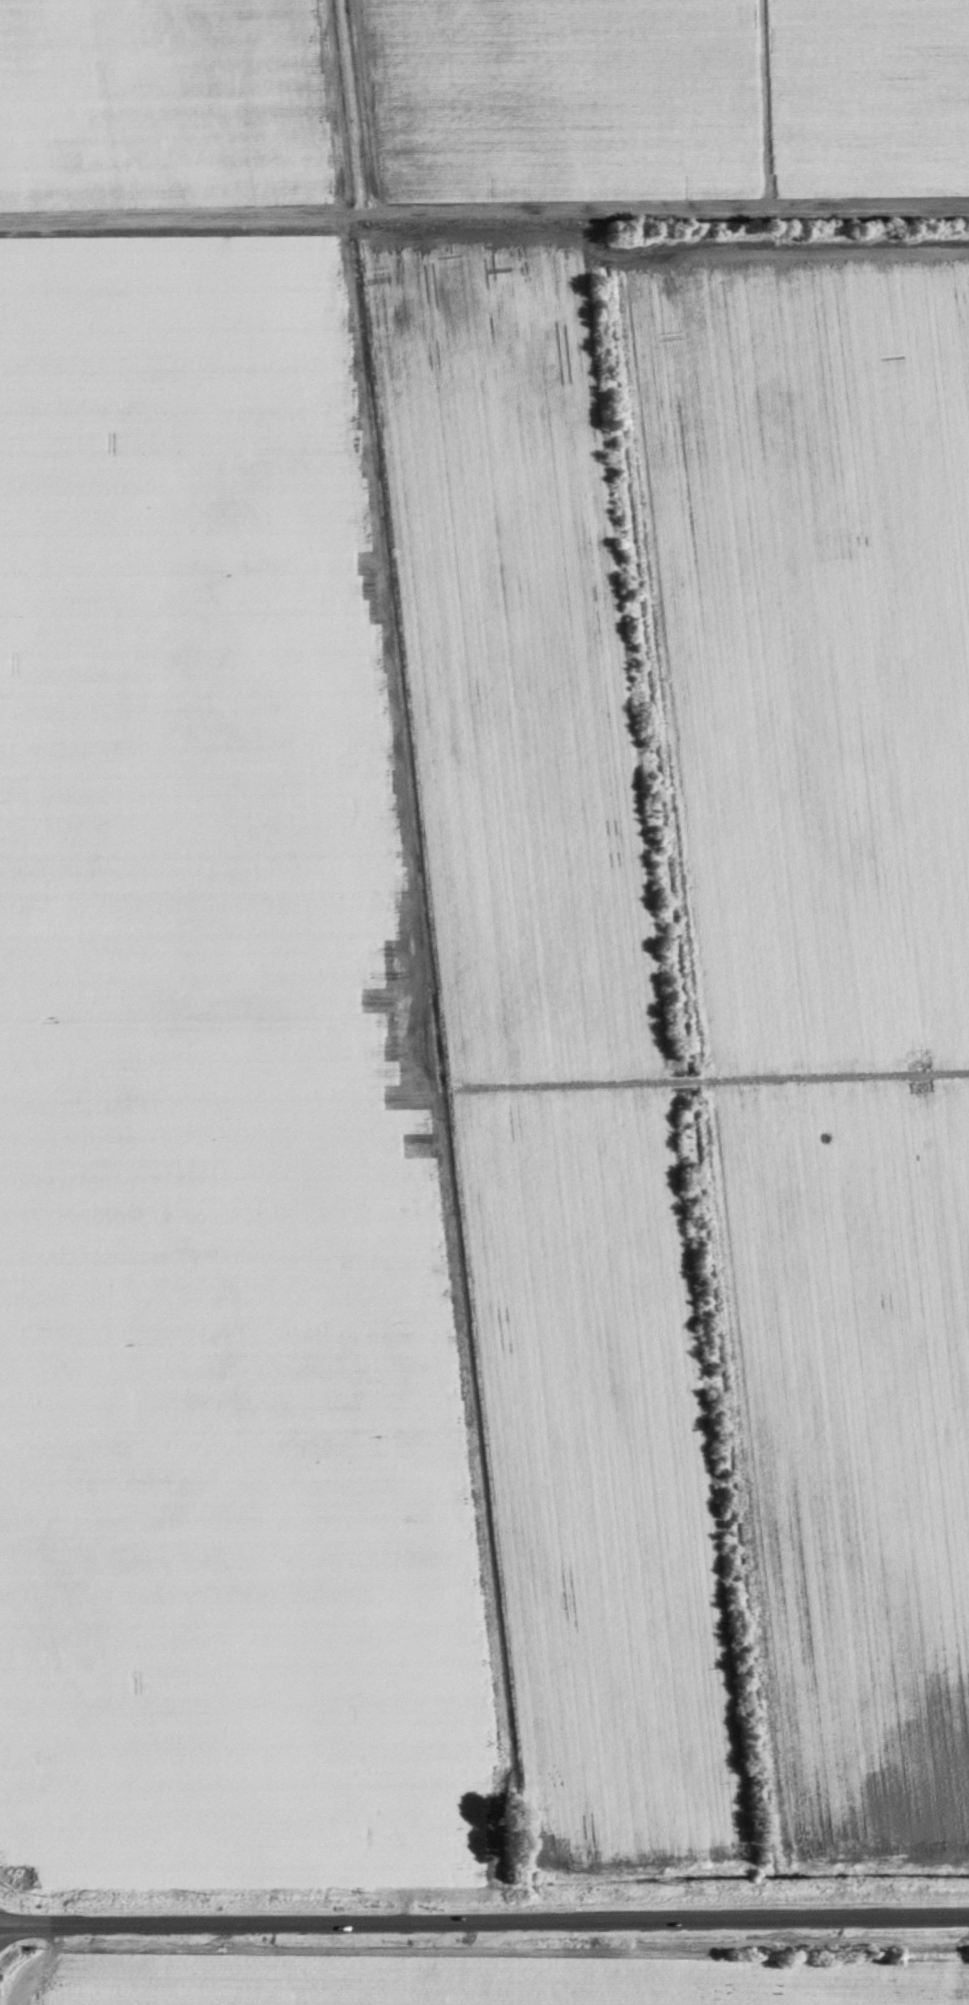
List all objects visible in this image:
road: (484, 1919)

